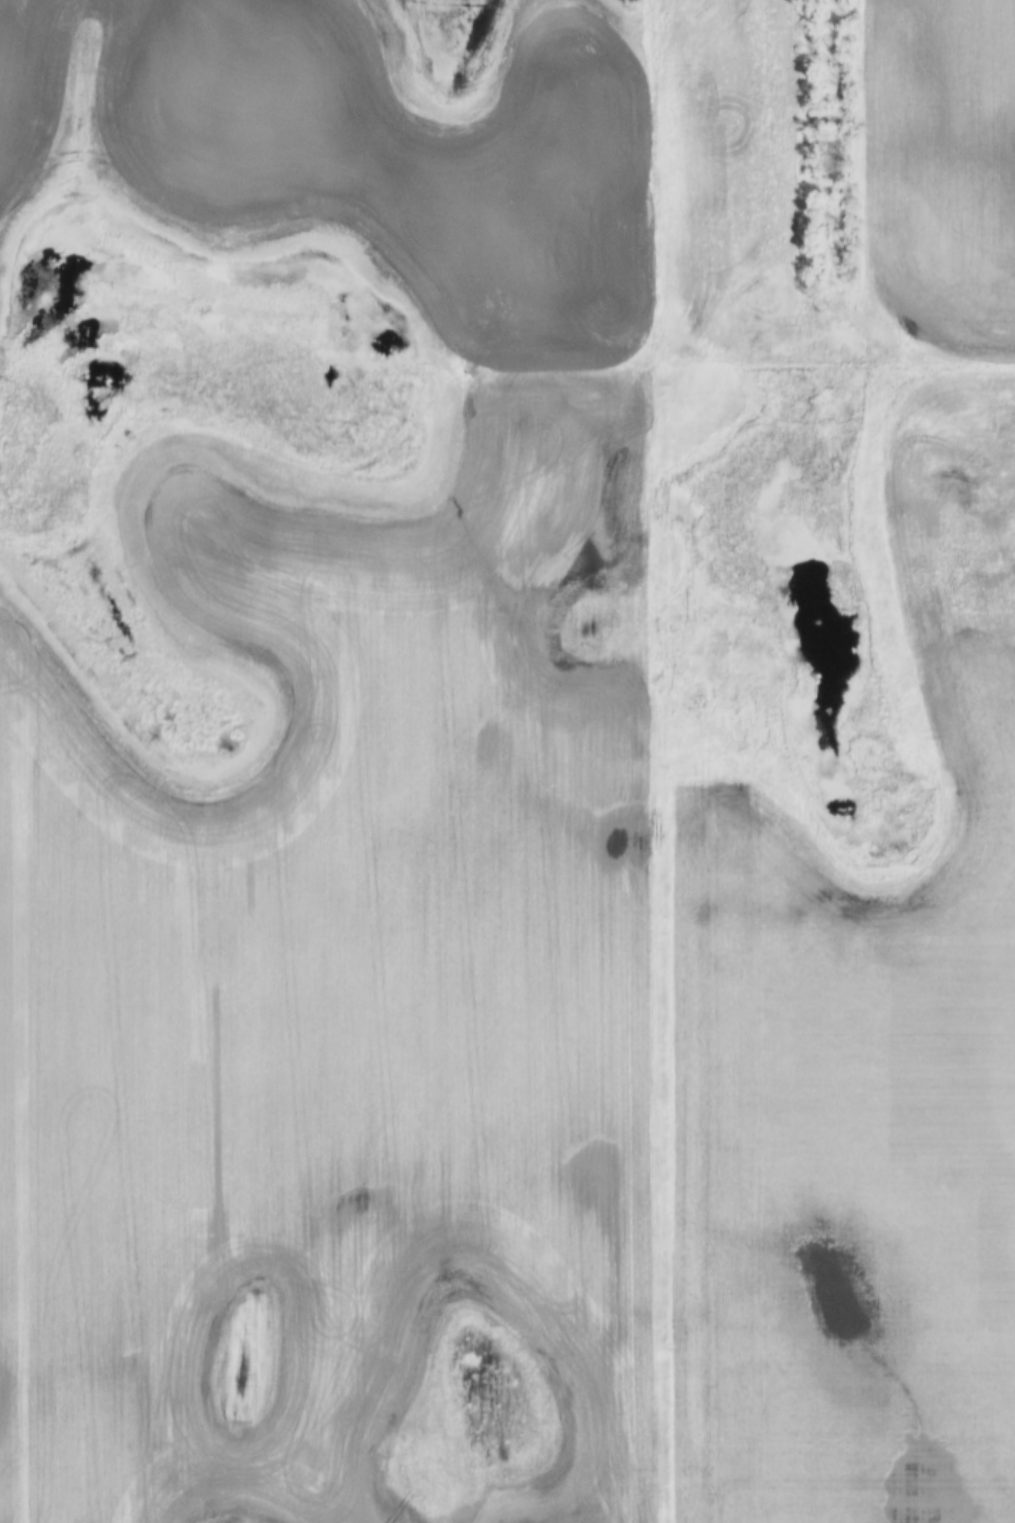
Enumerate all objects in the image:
road: (661, 761)

